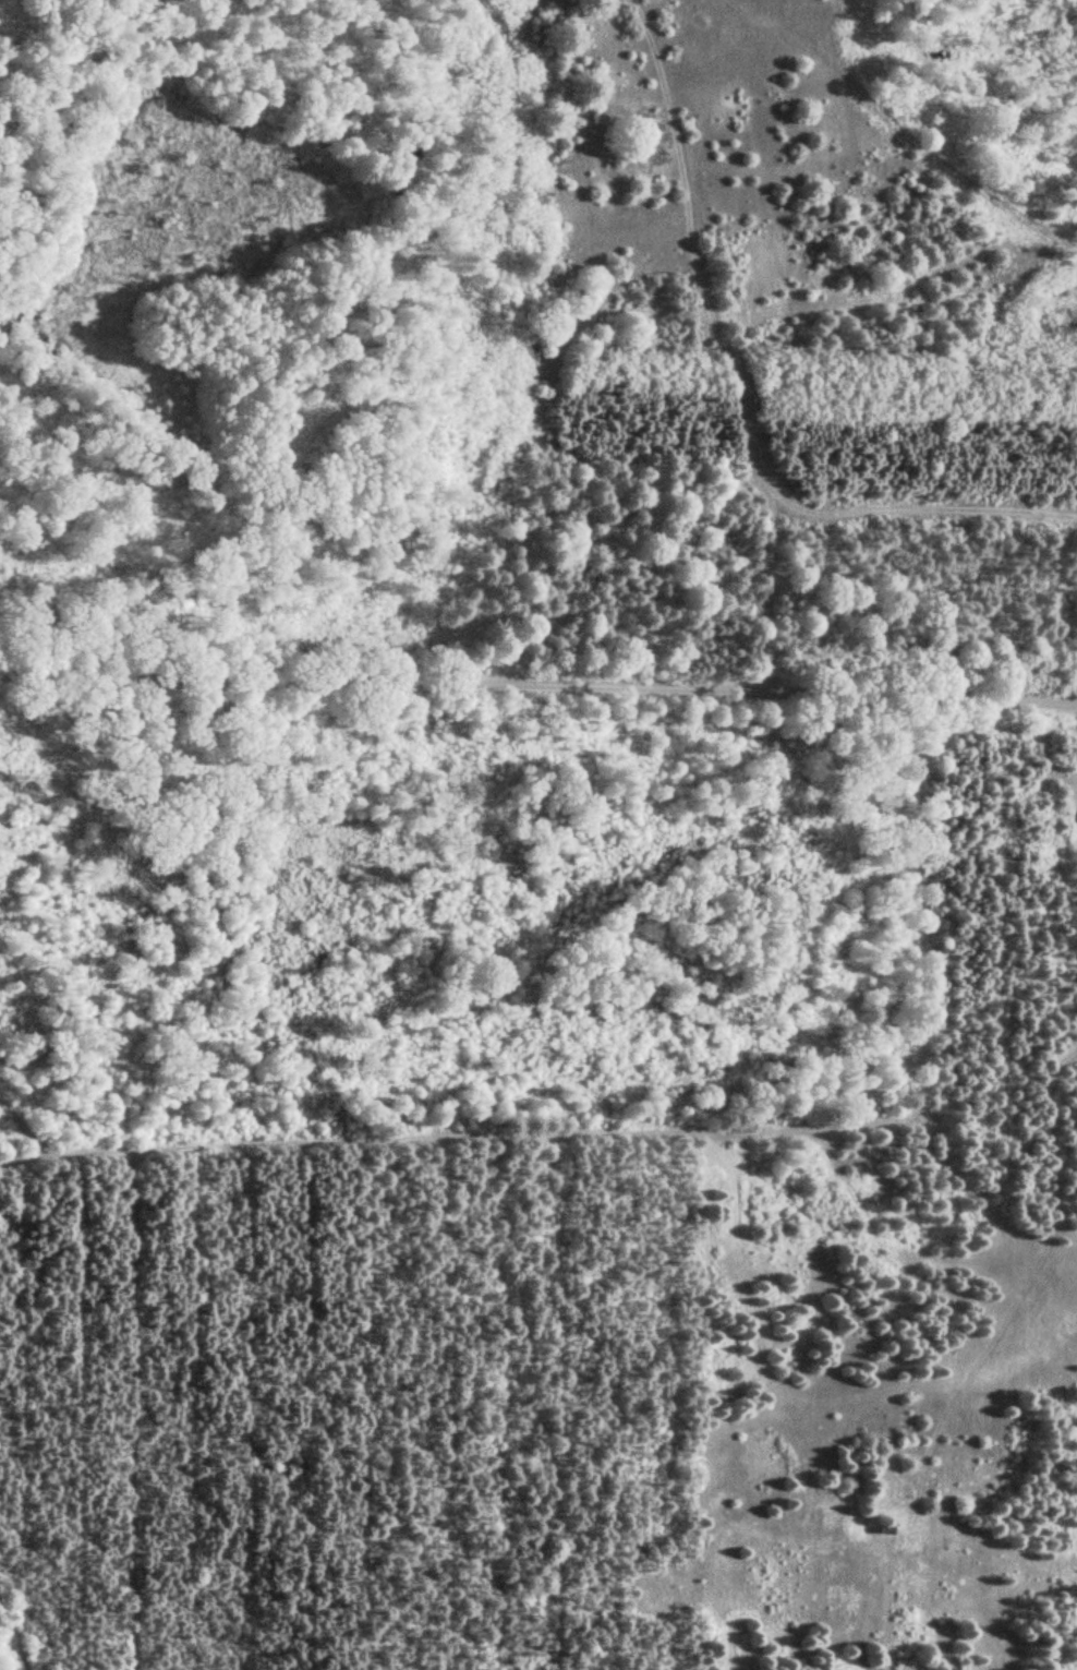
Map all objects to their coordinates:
road: (537, 690)

